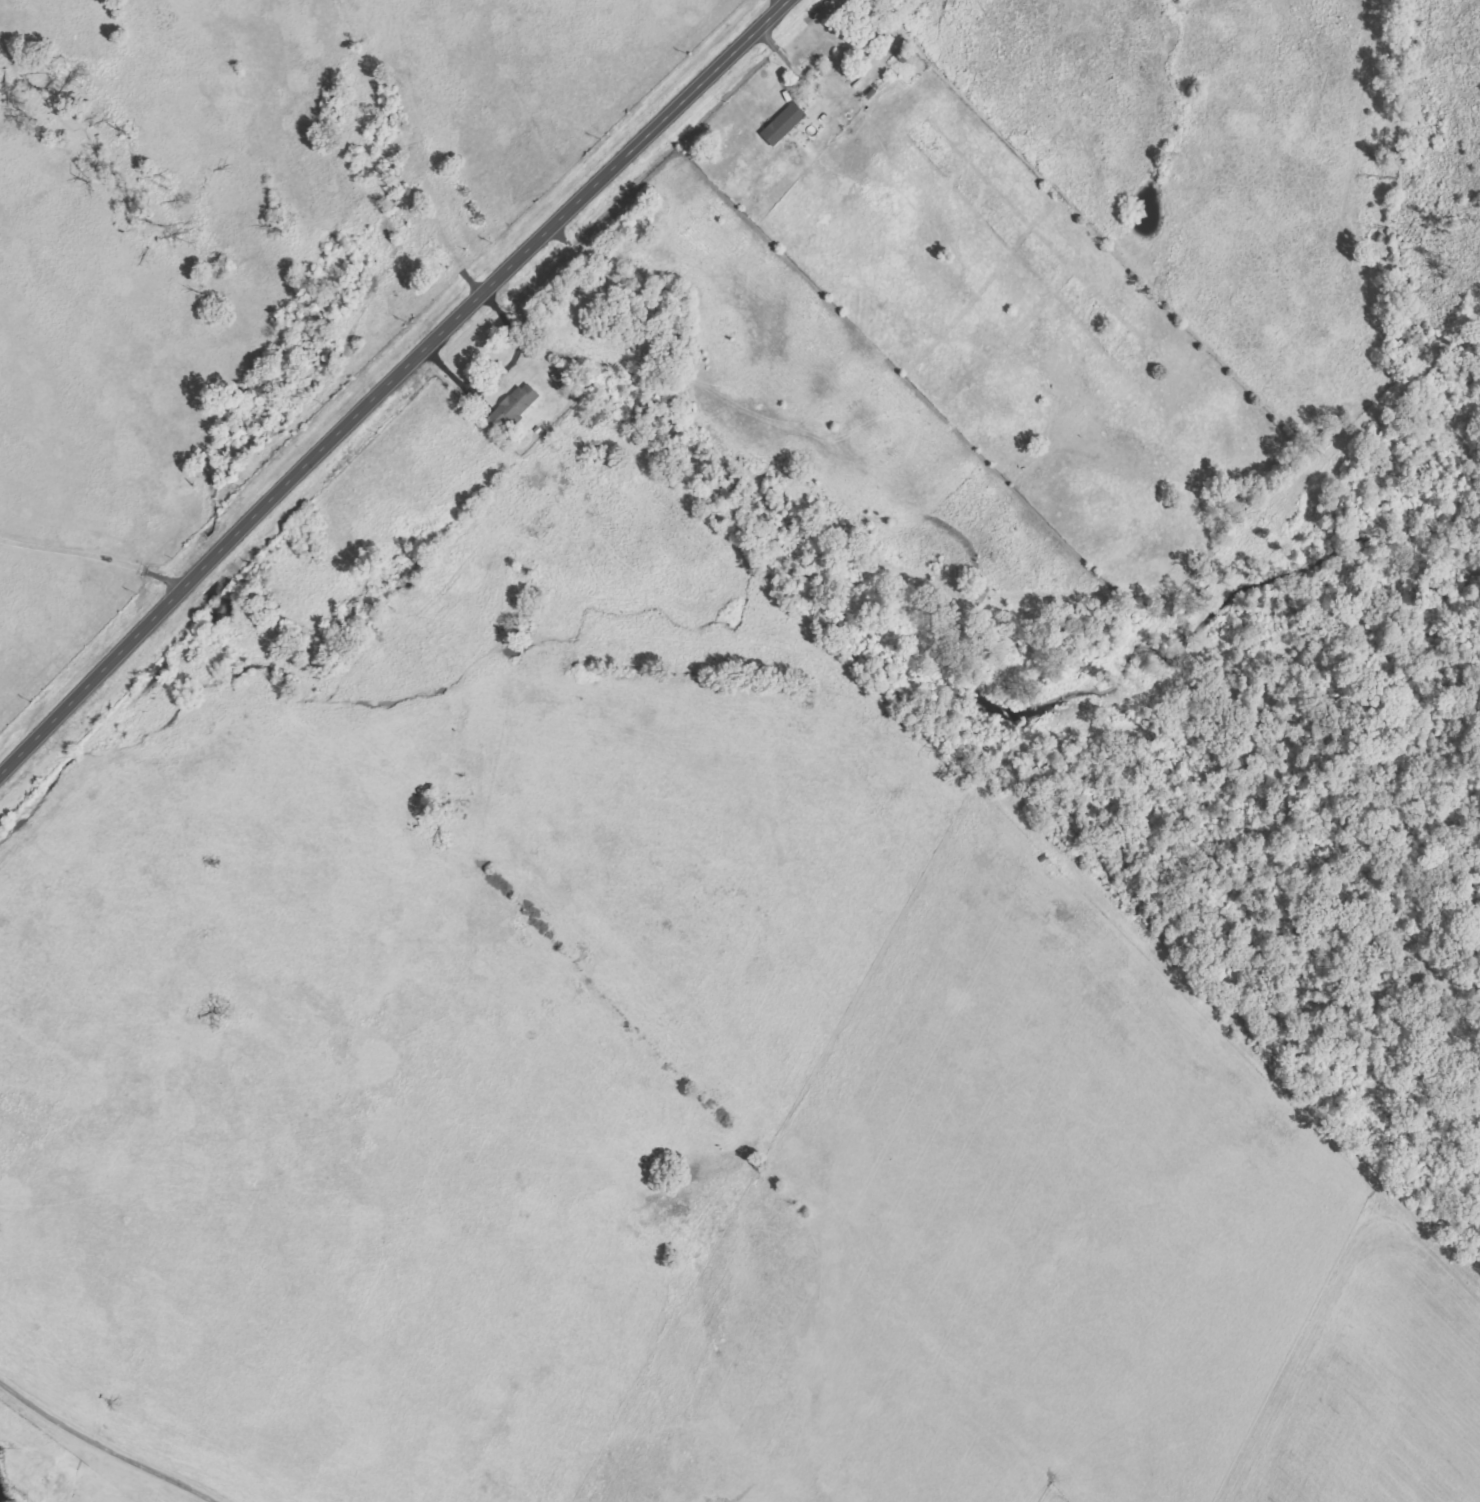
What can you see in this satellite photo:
building: (782, 123)
building: (567, 383)
road: (392, 384)
building: (513, 406)
road: (106, 1438)

